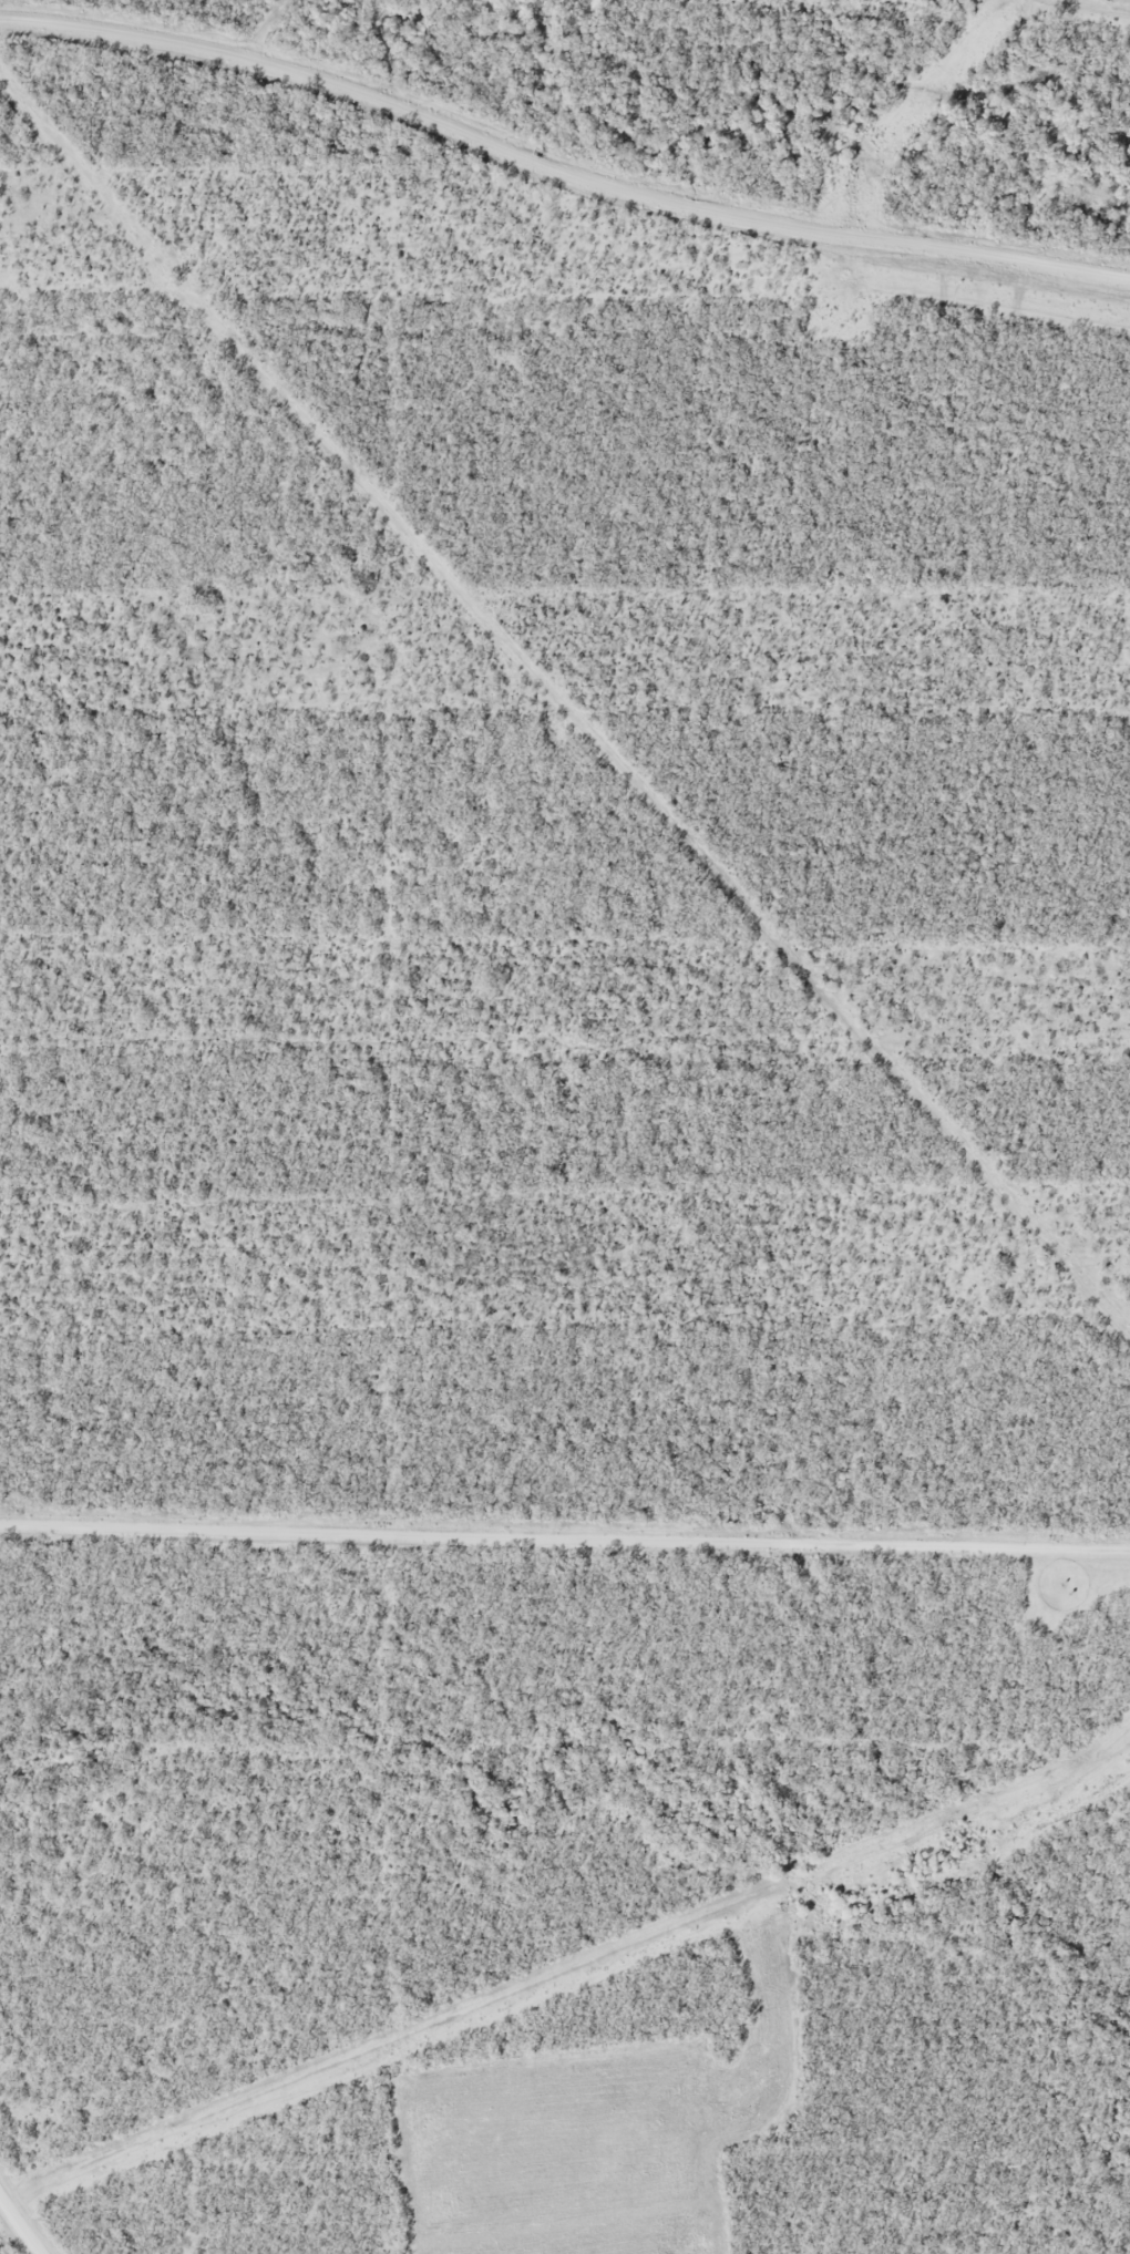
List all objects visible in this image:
road: (22, 2222)

